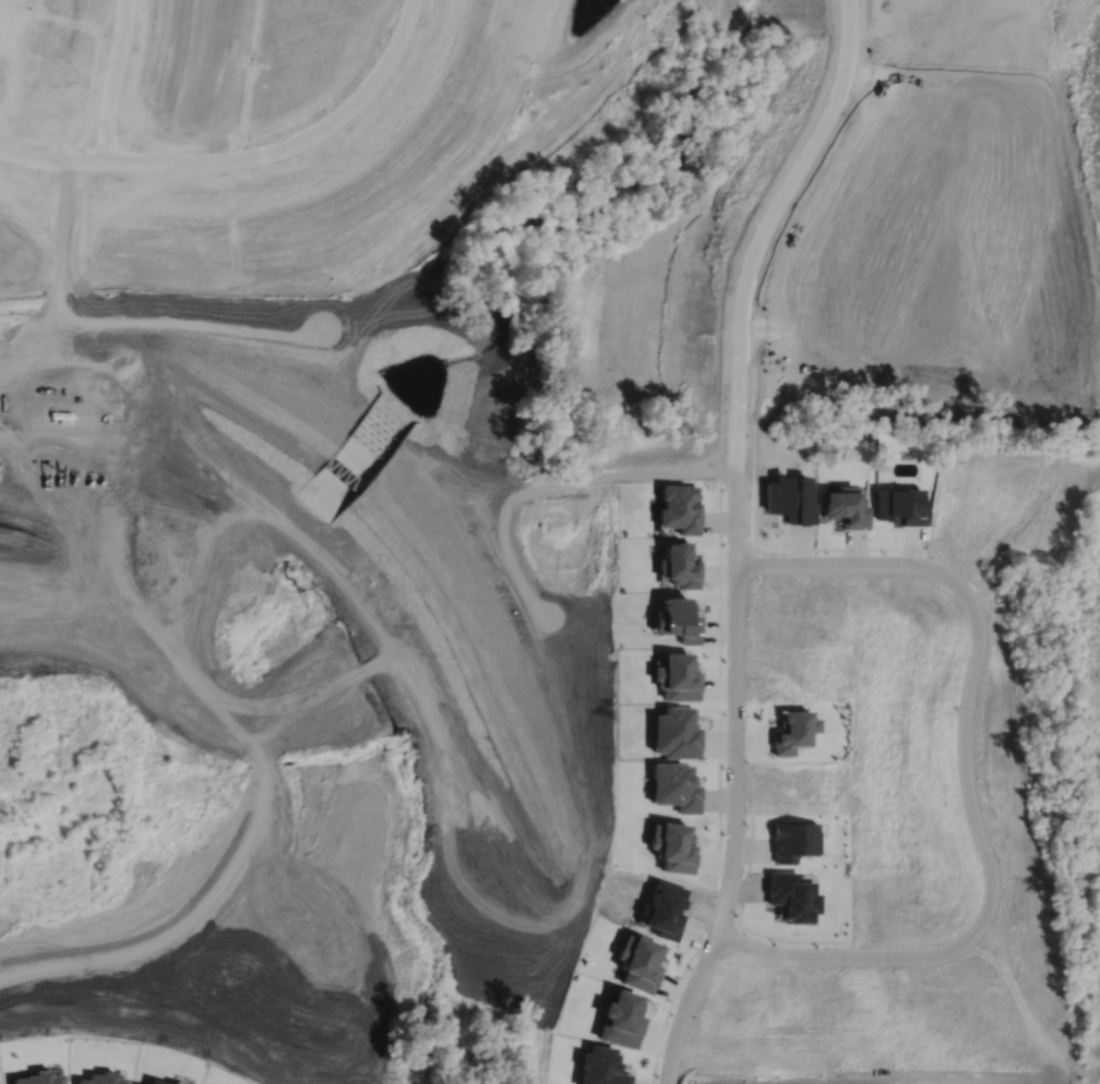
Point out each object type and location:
road: (115, 80)
road: (296, 141)
road: (53, 159)
road: (767, 225)
building: (787, 497)
building: (898, 504)
building: (845, 506)
building: (678, 508)
road: (847, 564)
building: (678, 565)
building: (677, 619)
building: (677, 676)
dam: (180, 694)
building: (792, 731)
building: (674, 732)
road: (964, 760)
road: (736, 778)
building: (673, 786)
building: (791, 840)
building: (671, 846)
building: (789, 898)
building: (666, 911)
road: (841, 957)
building: (638, 962)
building: (621, 1019)
building: (600, 1067)
building: (37, 1079)
building: (101, 1079)
building: (154, 1082)
building: (172, 1083)

